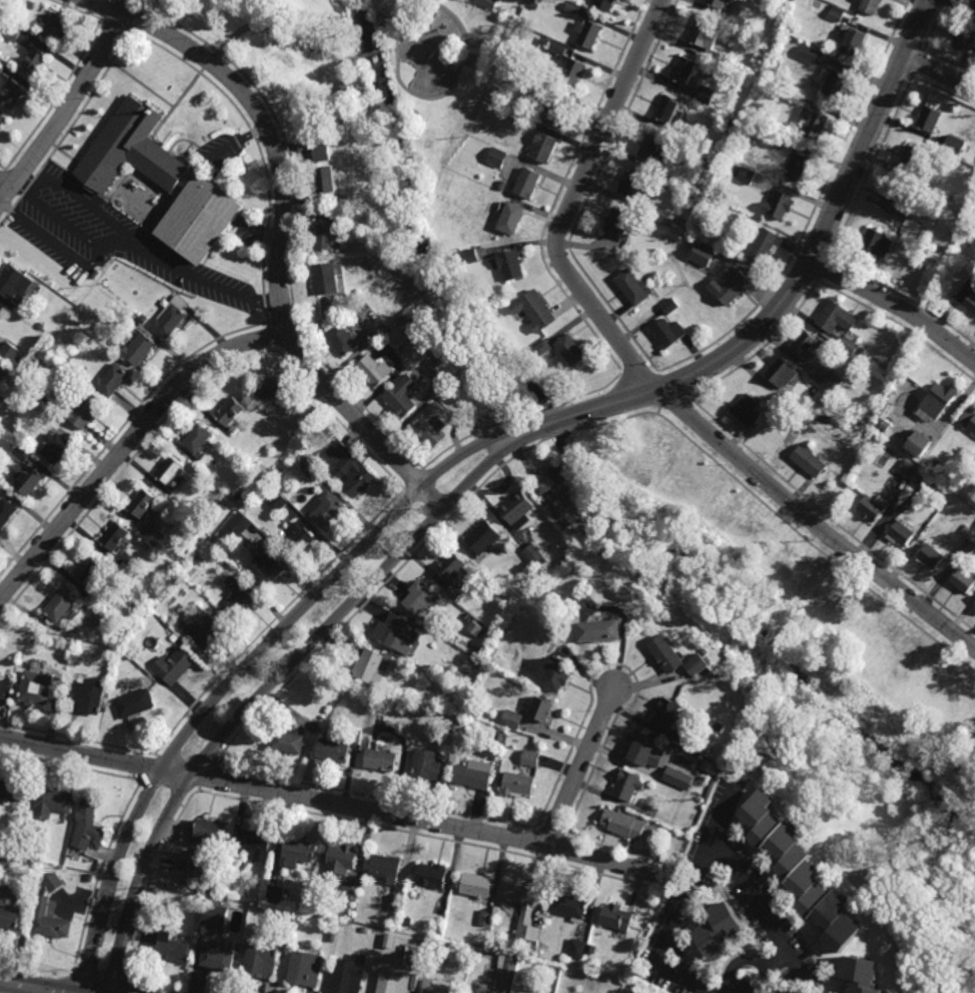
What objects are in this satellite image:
building: (485, 2)
building: (717, 3)
building: (533, 5)
building: (971, 5)
building: (605, 6)
building: (868, 6)
building: (3, 7)
building: (571, 8)
building: (836, 14)
building: (737, 21)
road: (935, 26)
building: (57, 30)
building: (11, 31)
road: (280, 36)
building: (589, 36)
building: (704, 36)
building: (963, 42)
building: (848, 43)
road: (392, 47)
road: (374, 53)
building: (816, 58)
building: (720, 59)
building: (34, 62)
road: (949, 63)
building: (1, 67)
park: (357, 69)
road: (939, 71)
building: (572, 73)
building: (685, 73)
building: (831, 84)
building: (347, 86)
road: (943, 91)
building: (13, 96)
building: (703, 96)
road: (436, 97)
building: (797, 99)
building: (508, 104)
building: (554, 110)
road: (65, 111)
building: (669, 111)
building: (520, 120)
building: (926, 120)
building: (2, 123)
building: (727, 123)
building: (812, 123)
building: (953, 144)
building: (684, 146)
building: (654, 148)
building: (544, 149)
building: (132, 150)
building: (322, 152)
building: (496, 157)
building: (909, 157)
road: (872, 167)
building: (800, 168)
building: (745, 174)
building: (328, 178)
road: (27, 183)
building: (661, 183)
building: (501, 185)
building: (529, 185)
building: (634, 185)
road: (5, 187)
road: (558, 191)
road: (589, 193)
building: (946, 196)
road: (569, 202)
building: (893, 202)
building: (781, 206)
road: (813, 211)
building: (204, 219)
building: (512, 219)
building: (745, 220)
building: (649, 224)
building: (619, 225)
building: (911, 228)
road: (75, 230)
building: (328, 230)
building: (966, 232)
road: (281, 236)
building: (689, 242)
road: (54, 244)
building: (875, 244)
building: (765, 246)
road: (148, 249)
building: (928, 254)
building: (701, 255)
building: (470, 257)
building: (510, 265)
road: (804, 268)
building: (95, 273)
building: (328, 278)
building: (14, 281)
building: (632, 287)
building: (735, 289)
building: (431, 296)
road: (908, 297)
building: (966, 297)
road: (896, 305)
building: (669, 306)
building: (535, 310)
building: (1, 312)
building: (834, 317)
building: (171, 318)
building: (40, 326)
building: (100, 326)
road: (900, 326)
building: (671, 332)
building: (344, 338)
building: (395, 339)
building: (848, 344)
building: (806, 346)
building: (542, 347)
road: (761, 348)
building: (140, 349)
building: (571, 350)
building: (9, 351)
building: (860, 352)
building: (65, 361)
building: (375, 370)
road: (639, 372)
building: (780, 376)
building: (112, 380)
building: (828, 381)
building: (457, 384)
road: (673, 385)
building: (269, 389)
road: (639, 391)
building: (1, 392)
road: (589, 393)
building: (403, 395)
building: (841, 395)
building: (791, 401)
building: (935, 401)
building: (890, 402)
road: (673, 404)
building: (746, 411)
building: (84, 412)
building: (231, 412)
road: (545, 412)
building: (866, 420)
road: (614, 422)
road: (552, 423)
building: (884, 424)
building: (432, 425)
building: (971, 428)
road: (474, 433)
road: (559, 434)
building: (198, 438)
building: (918, 443)
road: (127, 444)
building: (56, 447)
building: (20, 452)
building: (934, 462)
building: (806, 463)
building: (310, 468)
building: (351, 469)
building: (906, 469)
building: (171, 470)
building: (28, 478)
building: (550, 478)
road: (414, 480)
building: (925, 482)
building: (236, 496)
building: (276, 501)
building: (143, 503)
building: (871, 507)
building: (517, 509)
building: (204, 510)
building: (328, 510)
building: (6, 512)
building: (562, 520)
road: (829, 520)
road: (814, 522)
building: (235, 526)
building: (966, 528)
building: (899, 534)
building: (154, 535)
building: (116, 536)
building: (302, 536)
building: (483, 537)
road: (812, 543)
building: (967, 547)
building: (533, 555)
building: (198, 558)
building: (927, 558)
building: (454, 568)
building: (266, 569)
building: (89, 570)
building: (961, 582)
building: (541, 589)
building: (452, 592)
road: (374, 594)
building: (421, 596)
building: (238, 599)
building: (581, 600)
building: (61, 606)
building: (973, 611)
road: (274, 620)
building: (204, 628)
building: (474, 628)
building: (601, 630)
building: (395, 631)
building: (668, 653)
building: (704, 653)
building: (458, 654)
building: (389, 659)
road: (251, 660)
building: (697, 665)
building: (370, 666)
building: (173, 667)
building: (142, 672)
building: (555, 673)
road: (278, 678)
building: (5, 689)
building: (37, 689)
building: (90, 696)
building: (134, 705)
building: (541, 708)
building: (666, 712)
building: (473, 715)
building: (510, 721)
building: (450, 729)
building: (972, 731)
building: (497, 738)
building: (289, 742)
building: (696, 745)
building: (335, 750)
building: (645, 750)
building: (529, 755)
building: (381, 760)
building: (425, 763)
road: (150, 768)
road: (583, 768)
building: (473, 773)
road: (208, 775)
building: (678, 778)
building: (518, 783)
building: (628, 785)
building: (11, 791)
building: (51, 803)
road: (330, 803)
road: (726, 814)
building: (664, 816)
building: (624, 824)
building: (88, 826)
building: (210, 830)
building: (255, 844)
road: (713, 845)
building: (300, 851)
building: (341, 858)
building: (13, 860)
building: (3, 863)
building: (198, 863)
building: (386, 868)
road: (99, 870)
building: (799, 870)
road: (151, 875)
building: (433, 875)
building: (89, 877)
building: (53, 882)
building: (476, 884)
building: (211, 886)
building: (347, 890)
building: (273, 892)
building: (258, 897)
building: (198, 898)
building: (393, 904)
building: (569, 906)
building: (524, 909)
building: (275, 913)
building: (215, 914)
building: (348, 917)
building: (485, 917)
building: (11, 918)
building: (616, 918)
building: (49, 919)
building: (404, 920)
building: (364, 929)
building: (716, 929)
building: (329, 936)
building: (231, 942)
building: (173, 947)
building: (576, 947)
building: (410, 953)
building: (467, 953)
building: (220, 957)
building: (262, 958)
building: (587, 959)
road: (746, 960)
building: (471, 962)
building: (506, 962)
building: (304, 968)
building: (860, 974)
building: (349, 975)
building: (390, 982)
building: (436, 986)
road: (27, 987)
building: (478, 991)

